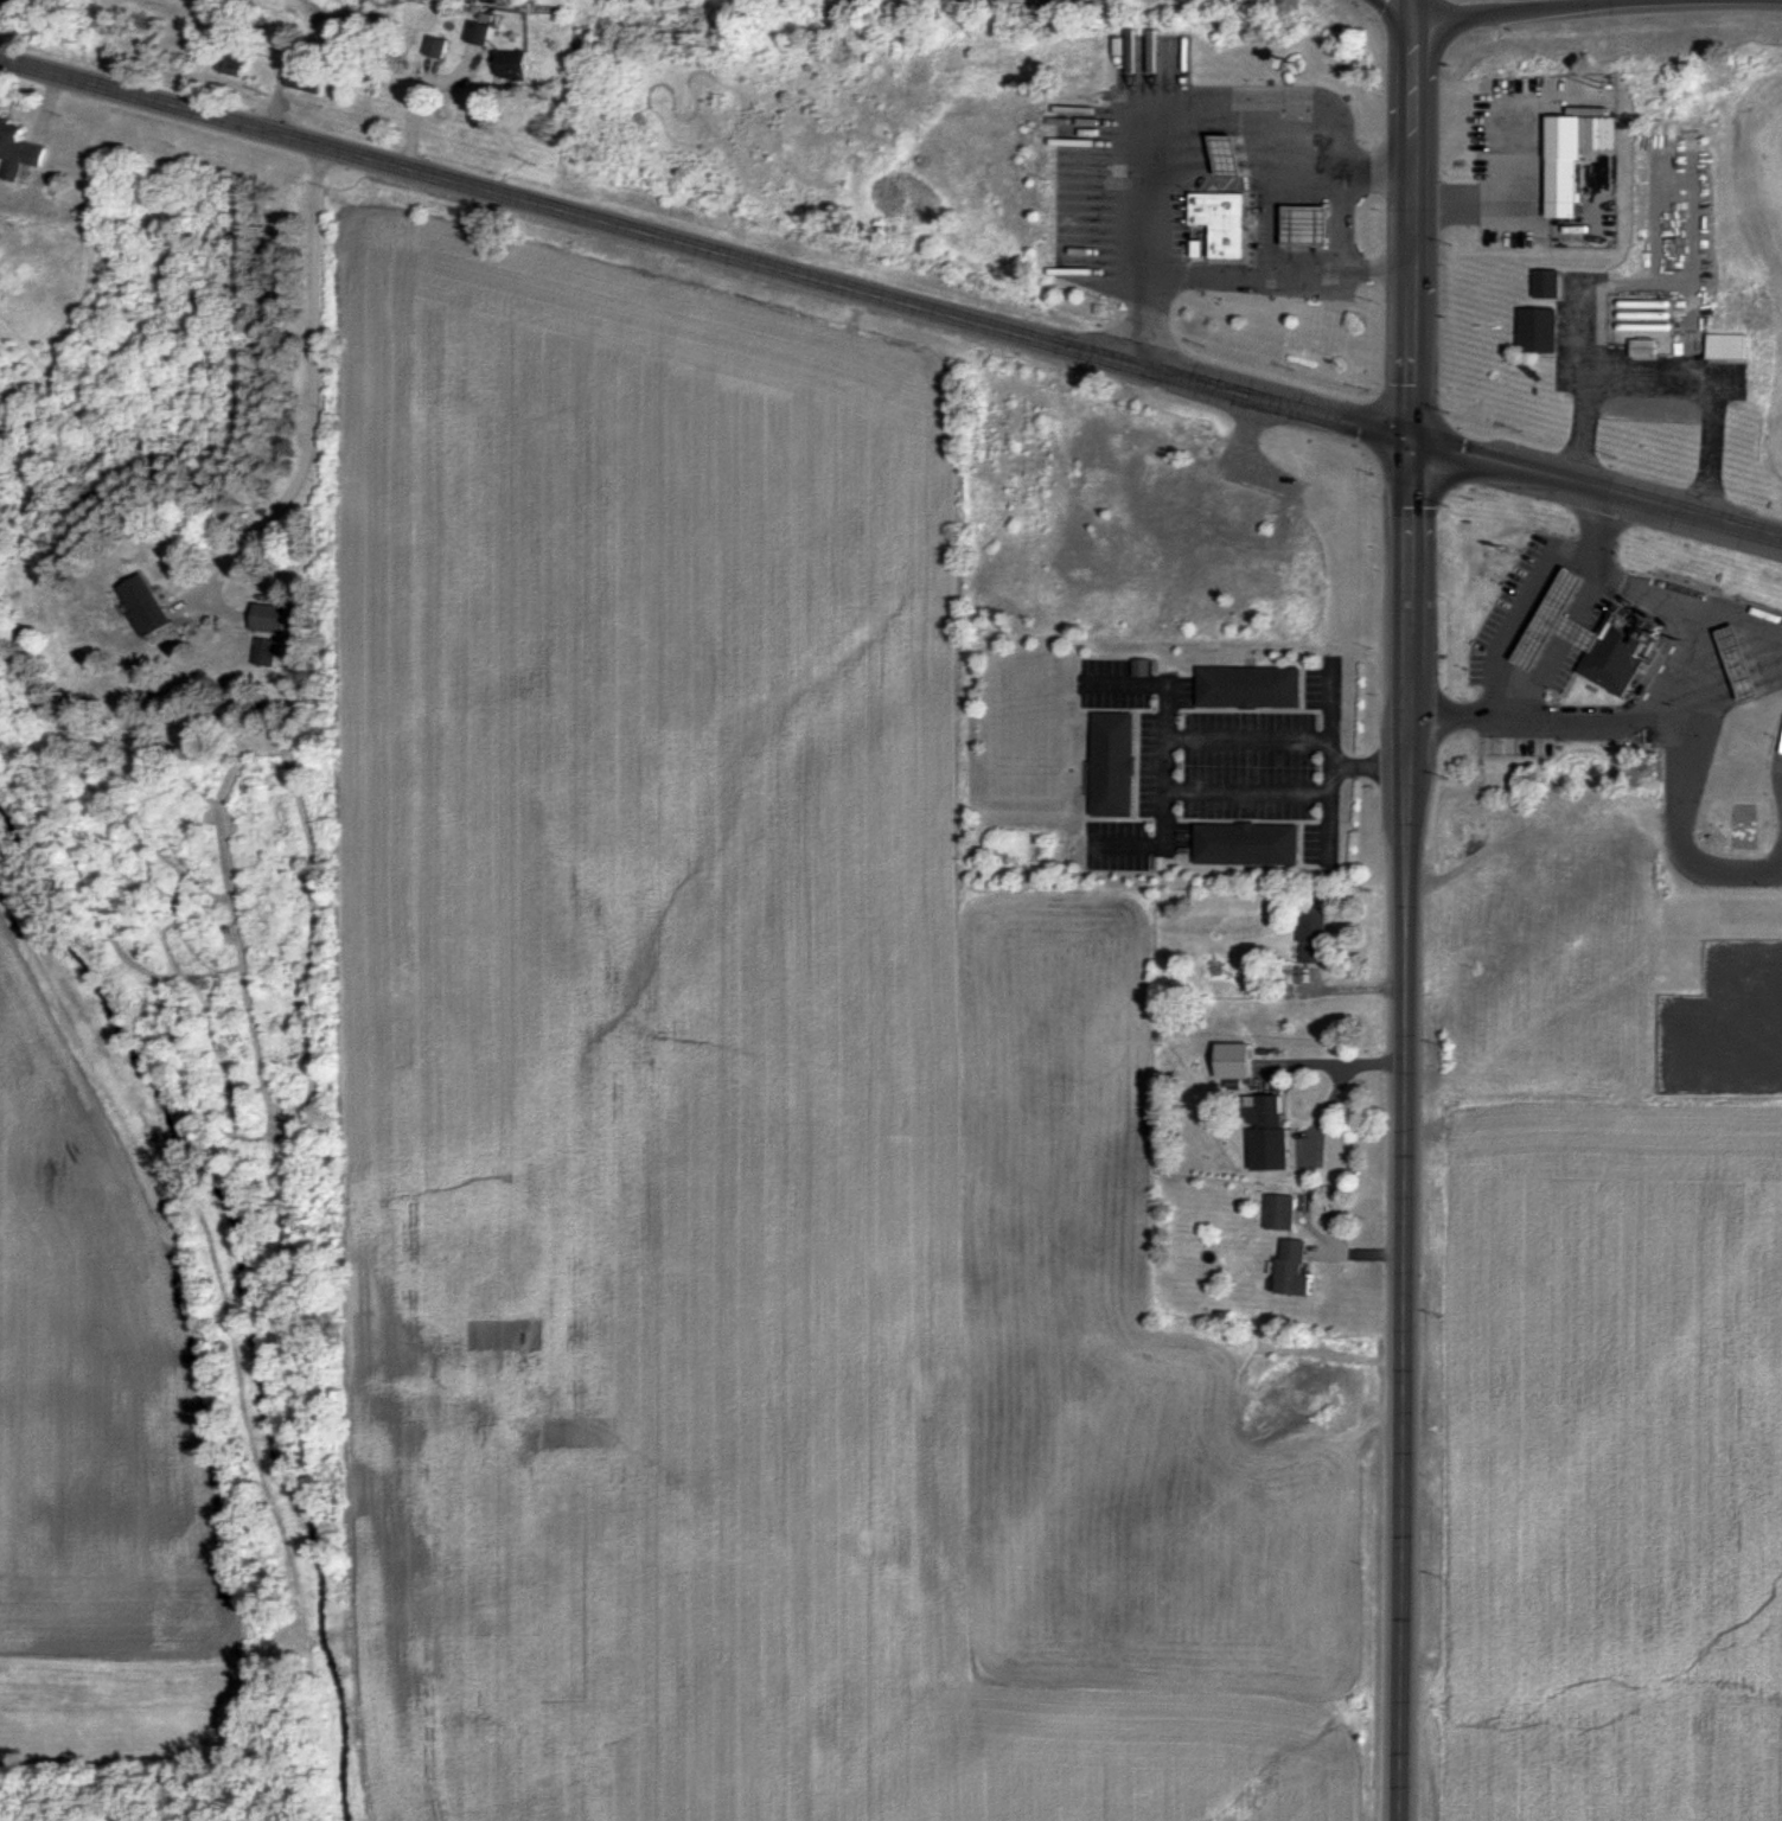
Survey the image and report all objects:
road: (1399, 6)
road: (1412, 6)
road: (1529, 8)
building: (477, 32)
building: (434, 46)
building: (232, 62)
building: (511, 64)
parking lot: (1151, 64)
building: (304, 78)
road: (1410, 90)
road: (1176, 121)
building: (18, 151)
building: (1229, 155)
road: (1507, 158)
building: (1565, 180)
parking lot: (1201, 184)
parking lot: (1085, 198)
parking lot: (1180, 213)
road: (1410, 217)
building: (1224, 223)
building: (1309, 225)
parking lot: (1257, 226)
road: (704, 247)
road: (1339, 250)
building: (1553, 266)
road: (1246, 279)
building: (1547, 285)
road: (1410, 301)
building: (1538, 330)
building: (1727, 346)
building: (1644, 349)
road: (1666, 381)
road: (1410, 388)
road: (311, 398)
road: (1595, 490)
road: (1407, 601)
building: (143, 605)
parking lot: (1510, 609)
building: (269, 616)
road: (1746, 620)
building: (1559, 621)
road: (1514, 624)
road: (1732, 638)
parking lot: (1573, 643)
road: (1561, 648)
building: (266, 651)
building: (1621, 651)
road: (1737, 651)
building: (1742, 663)
building: (1141, 666)
road: (1733, 667)
road: (1649, 677)
road: (1685, 683)
road: (1730, 683)
building: (1251, 686)
road: (1729, 696)
road: (1329, 699)
road: (1246, 737)
road: (1163, 760)
road: (1368, 763)
building: (1116, 765)
road: (1329, 765)
parking lot: (1776, 784)
road: (1246, 791)
road: (1328, 826)
road: (1679, 836)
building: (1248, 845)
building: (1314, 935)
road: (1744, 1018)
building: (1231, 1058)
road: (1340, 1076)
crop: (577, 1081)
building: (1271, 1136)
building: (1280, 1210)
building: (1297, 1270)
road: (1400, 1292)
crop: (1590, 1464)

